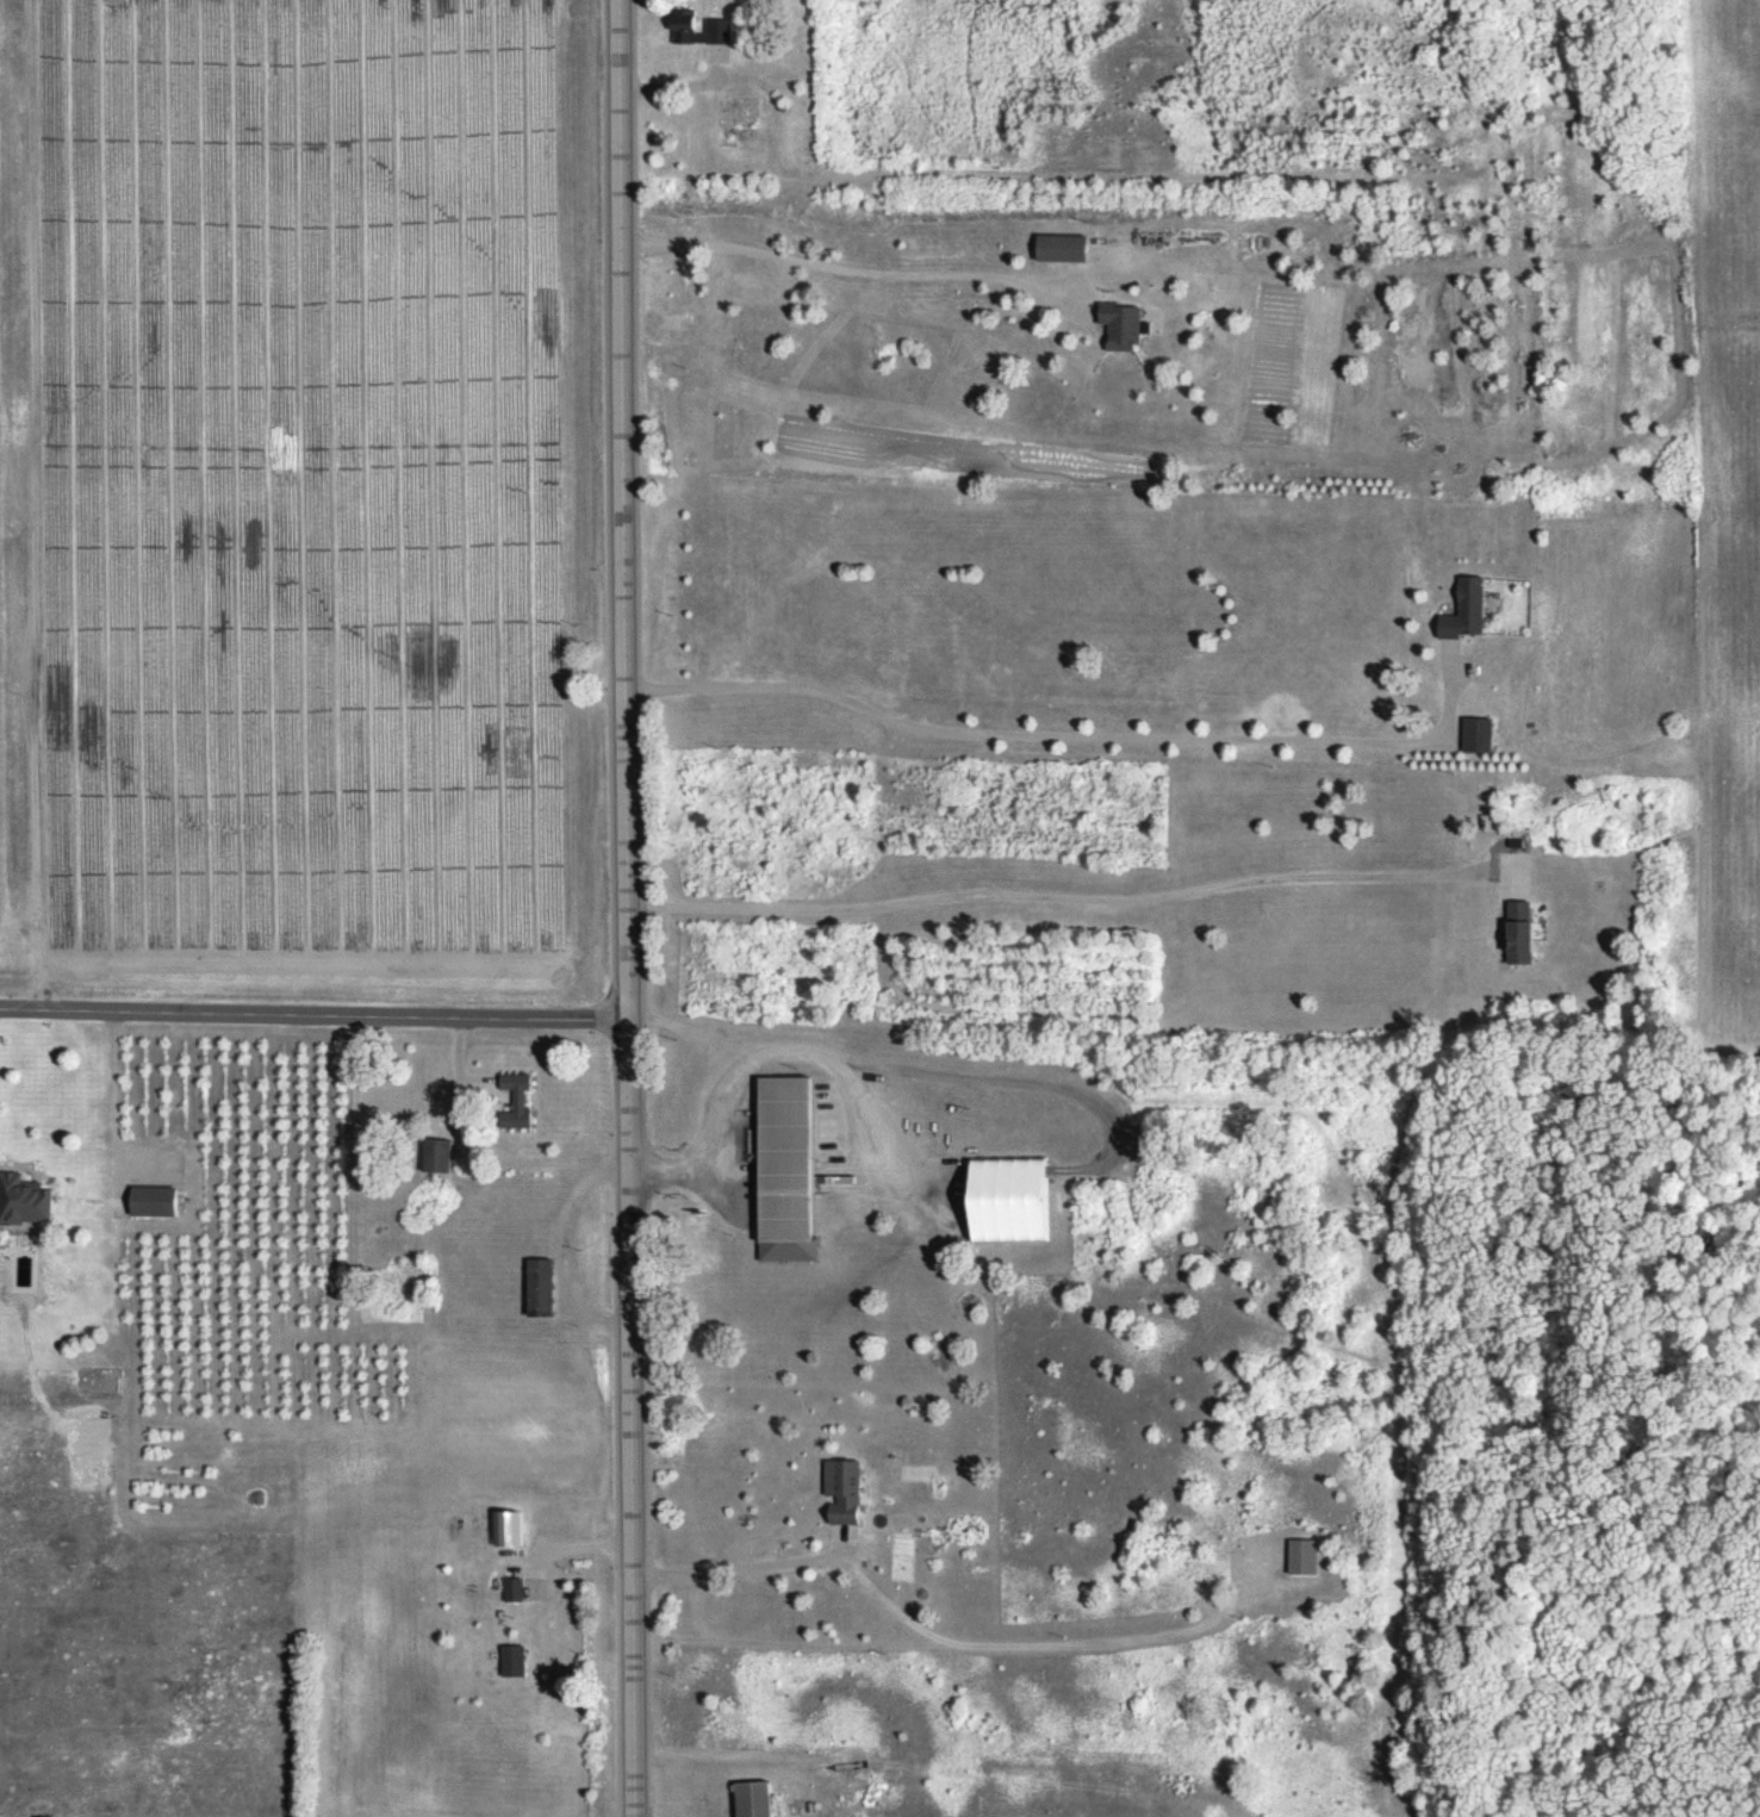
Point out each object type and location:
building: (708, 29)
road: (680, 85)
building: (1069, 248)
road: (851, 270)
building: (1128, 325)
building: (1469, 610)
road: (1021, 732)
building: (1481, 735)
road: (1047, 895)
road: (629, 908)
building: (1526, 932)
road: (315, 1014)
road: (753, 1062)
road: (1013, 1077)
building: (522, 1097)
building: (442, 1155)
building: (794, 1168)
building: (26, 1199)
building: (1018, 1199)
building: (158, 1200)
road: (568, 1245)
building: (545, 1286)
building: (848, 1489)
building: (512, 1527)
road: (595, 1548)
building: (1308, 1555)
building: (516, 1588)
road: (932, 1628)
road: (1109, 1641)
building: (516, 1660)
building: (759, 1798)

